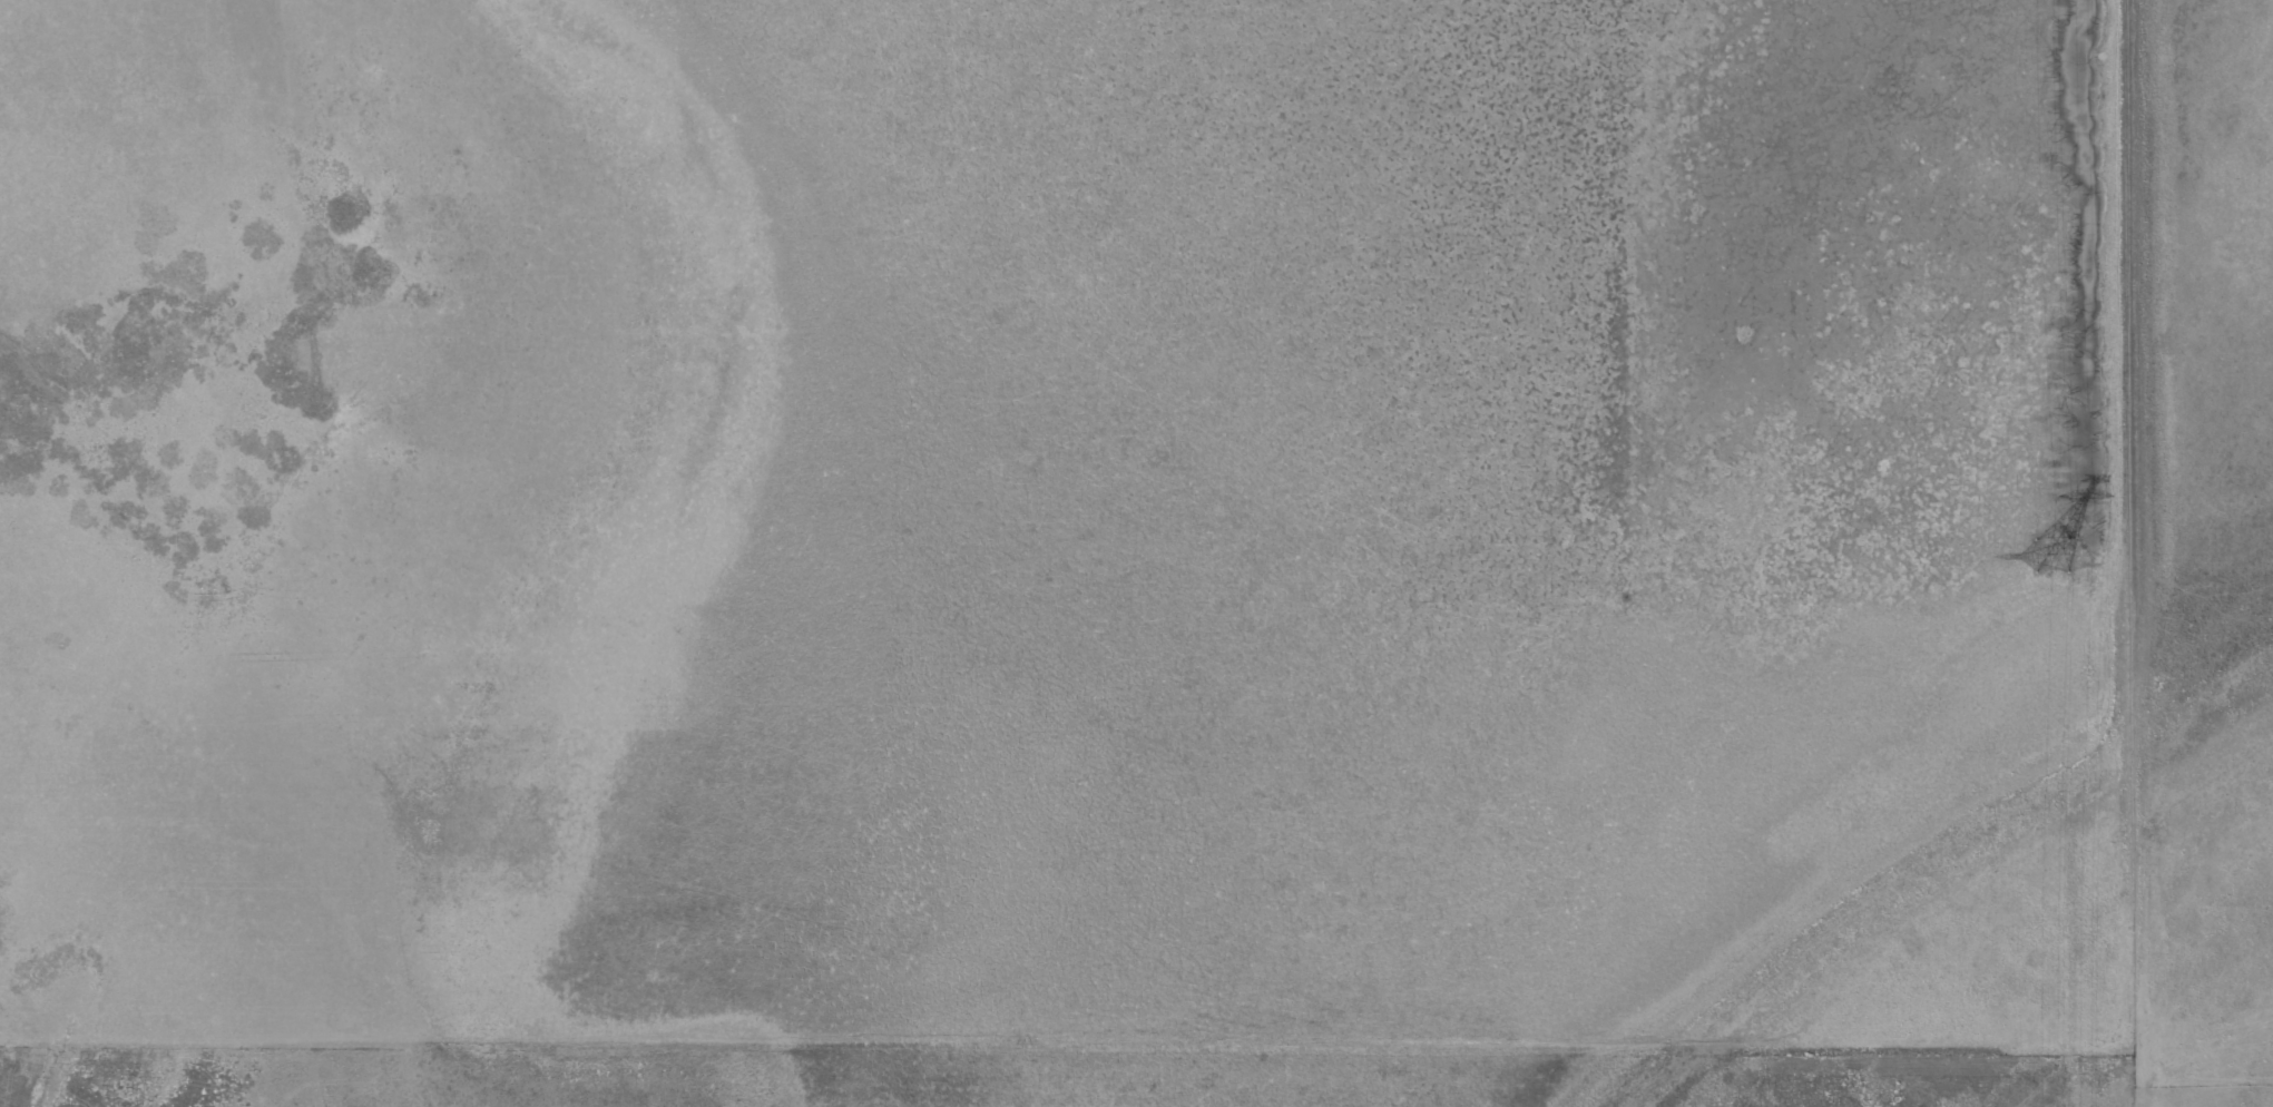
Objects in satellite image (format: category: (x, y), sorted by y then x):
power tower: (2049, 555)

